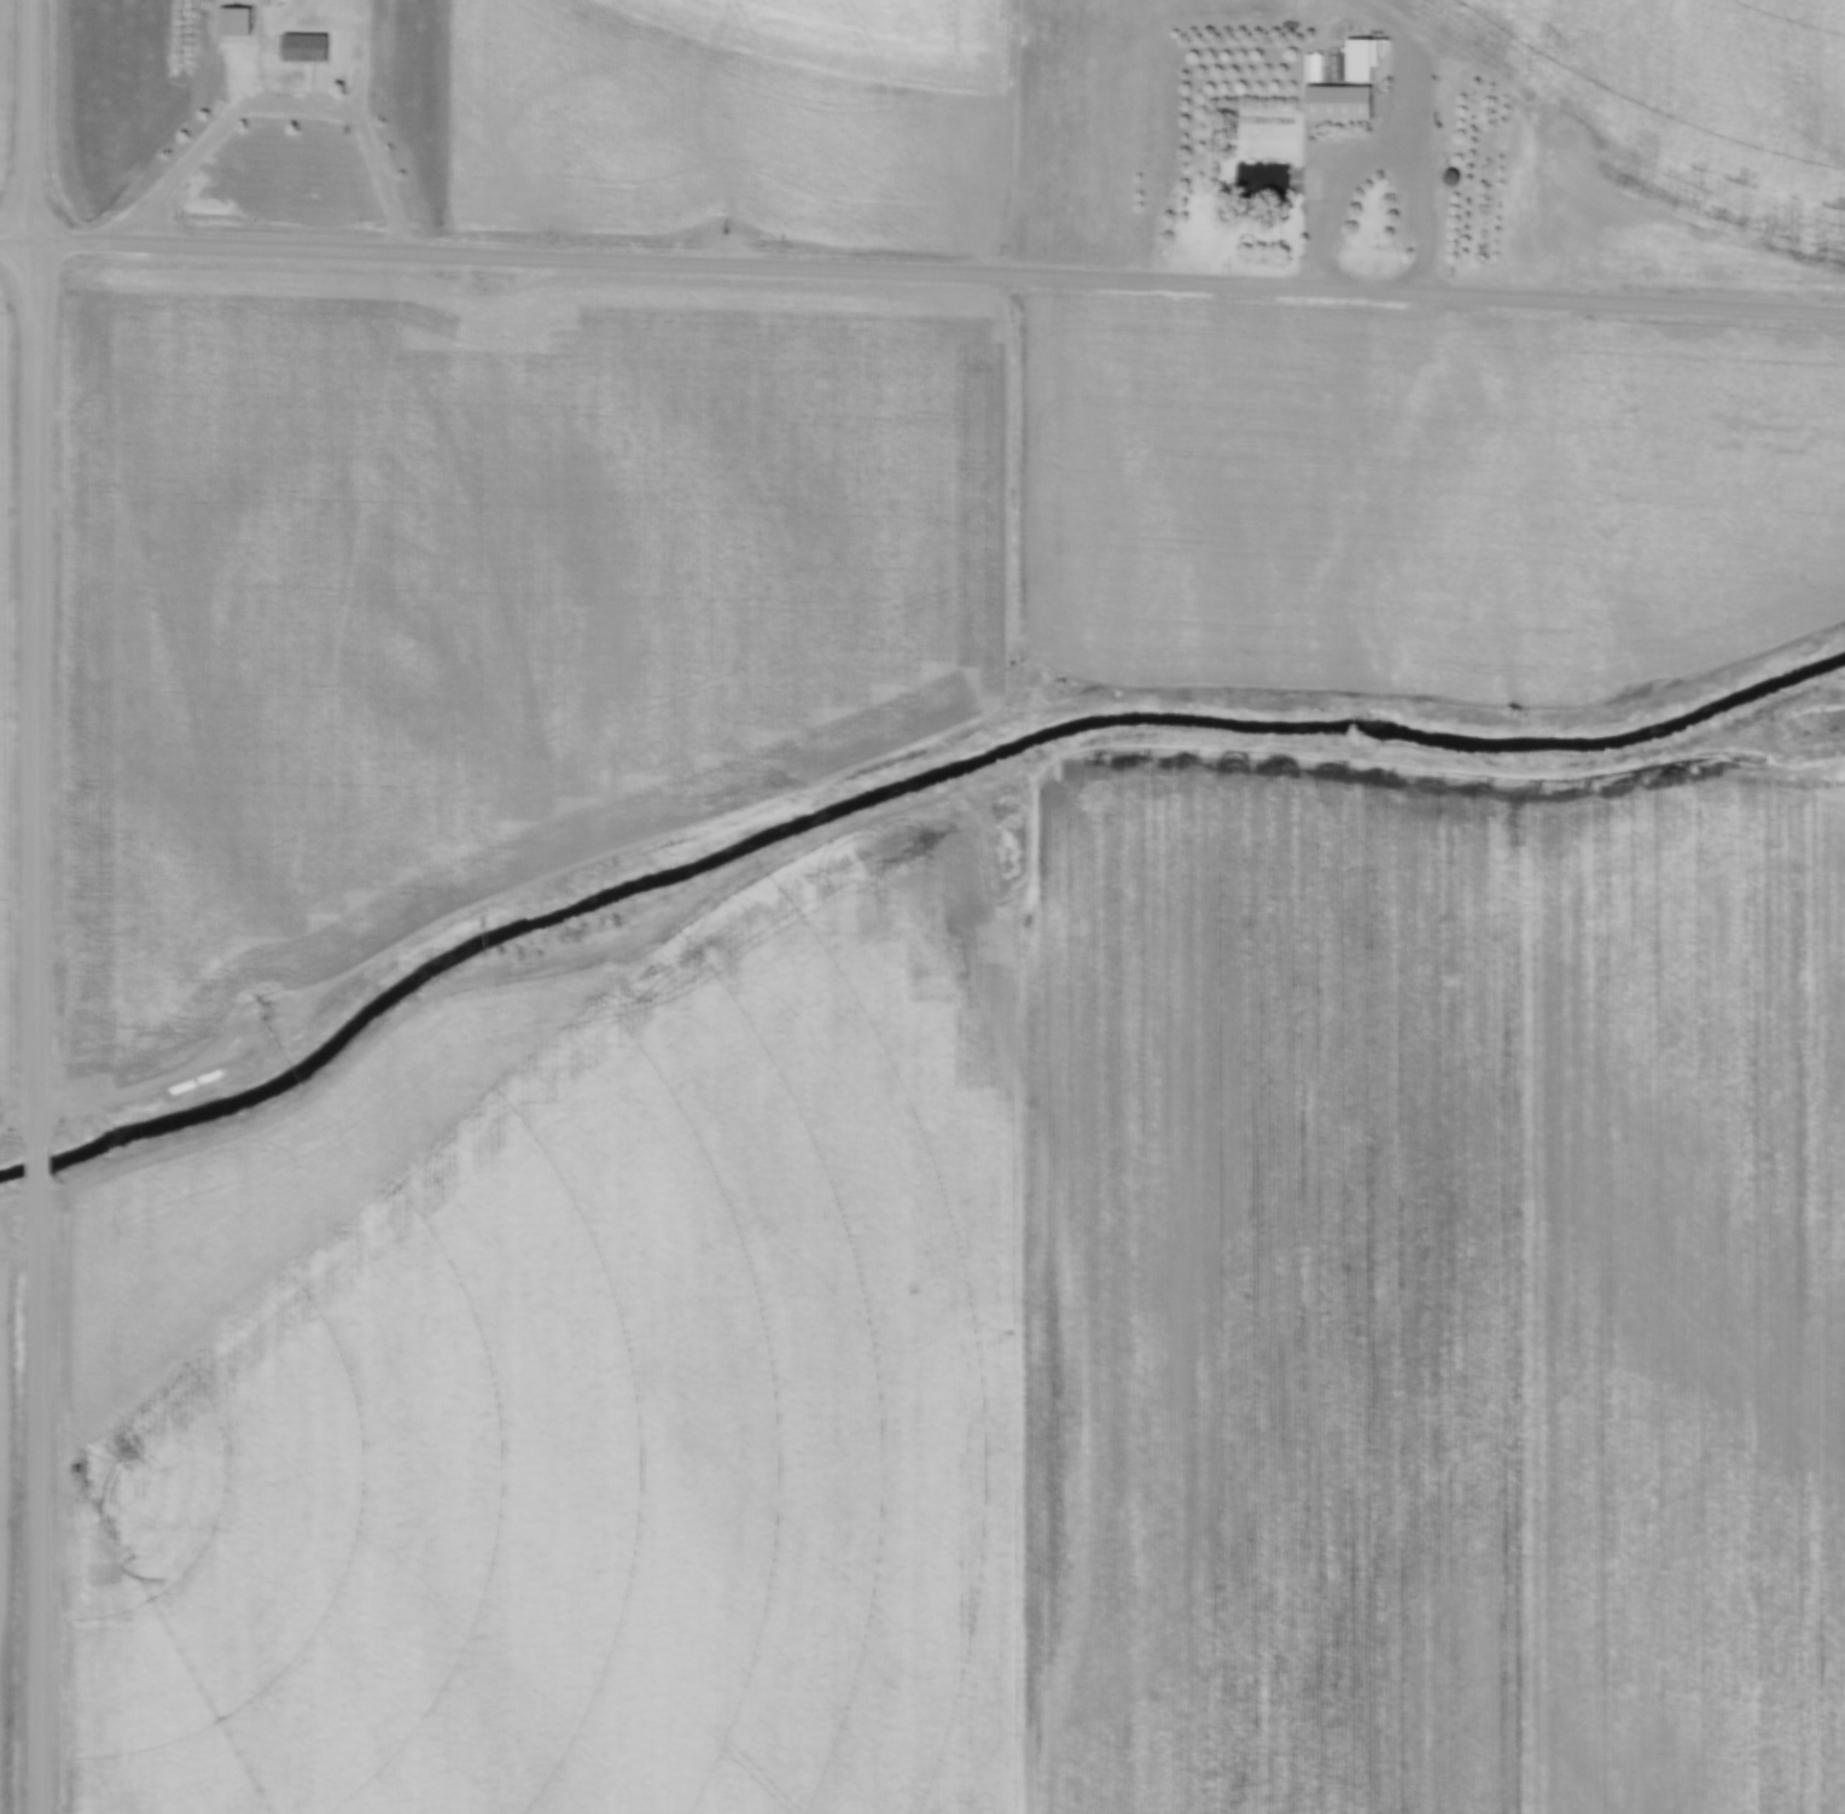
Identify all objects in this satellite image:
building: (303, 45)
road: (248, 57)
building: (1358, 57)
crop: (4, 76)
building: (1337, 101)
crop: (1684, 122)
crop: (732, 123)
road: (361, 127)
road: (215, 132)
road: (1385, 141)
building: (1264, 175)
road: (14, 239)
road: (937, 270)
road: (31, 576)
crop: (465, 593)
crop: (1, 655)
road: (683, 819)
road: (537, 968)
road: (35, 1165)
crop: (1028, 1354)
crop: (5, 1440)
road: (35, 1495)

